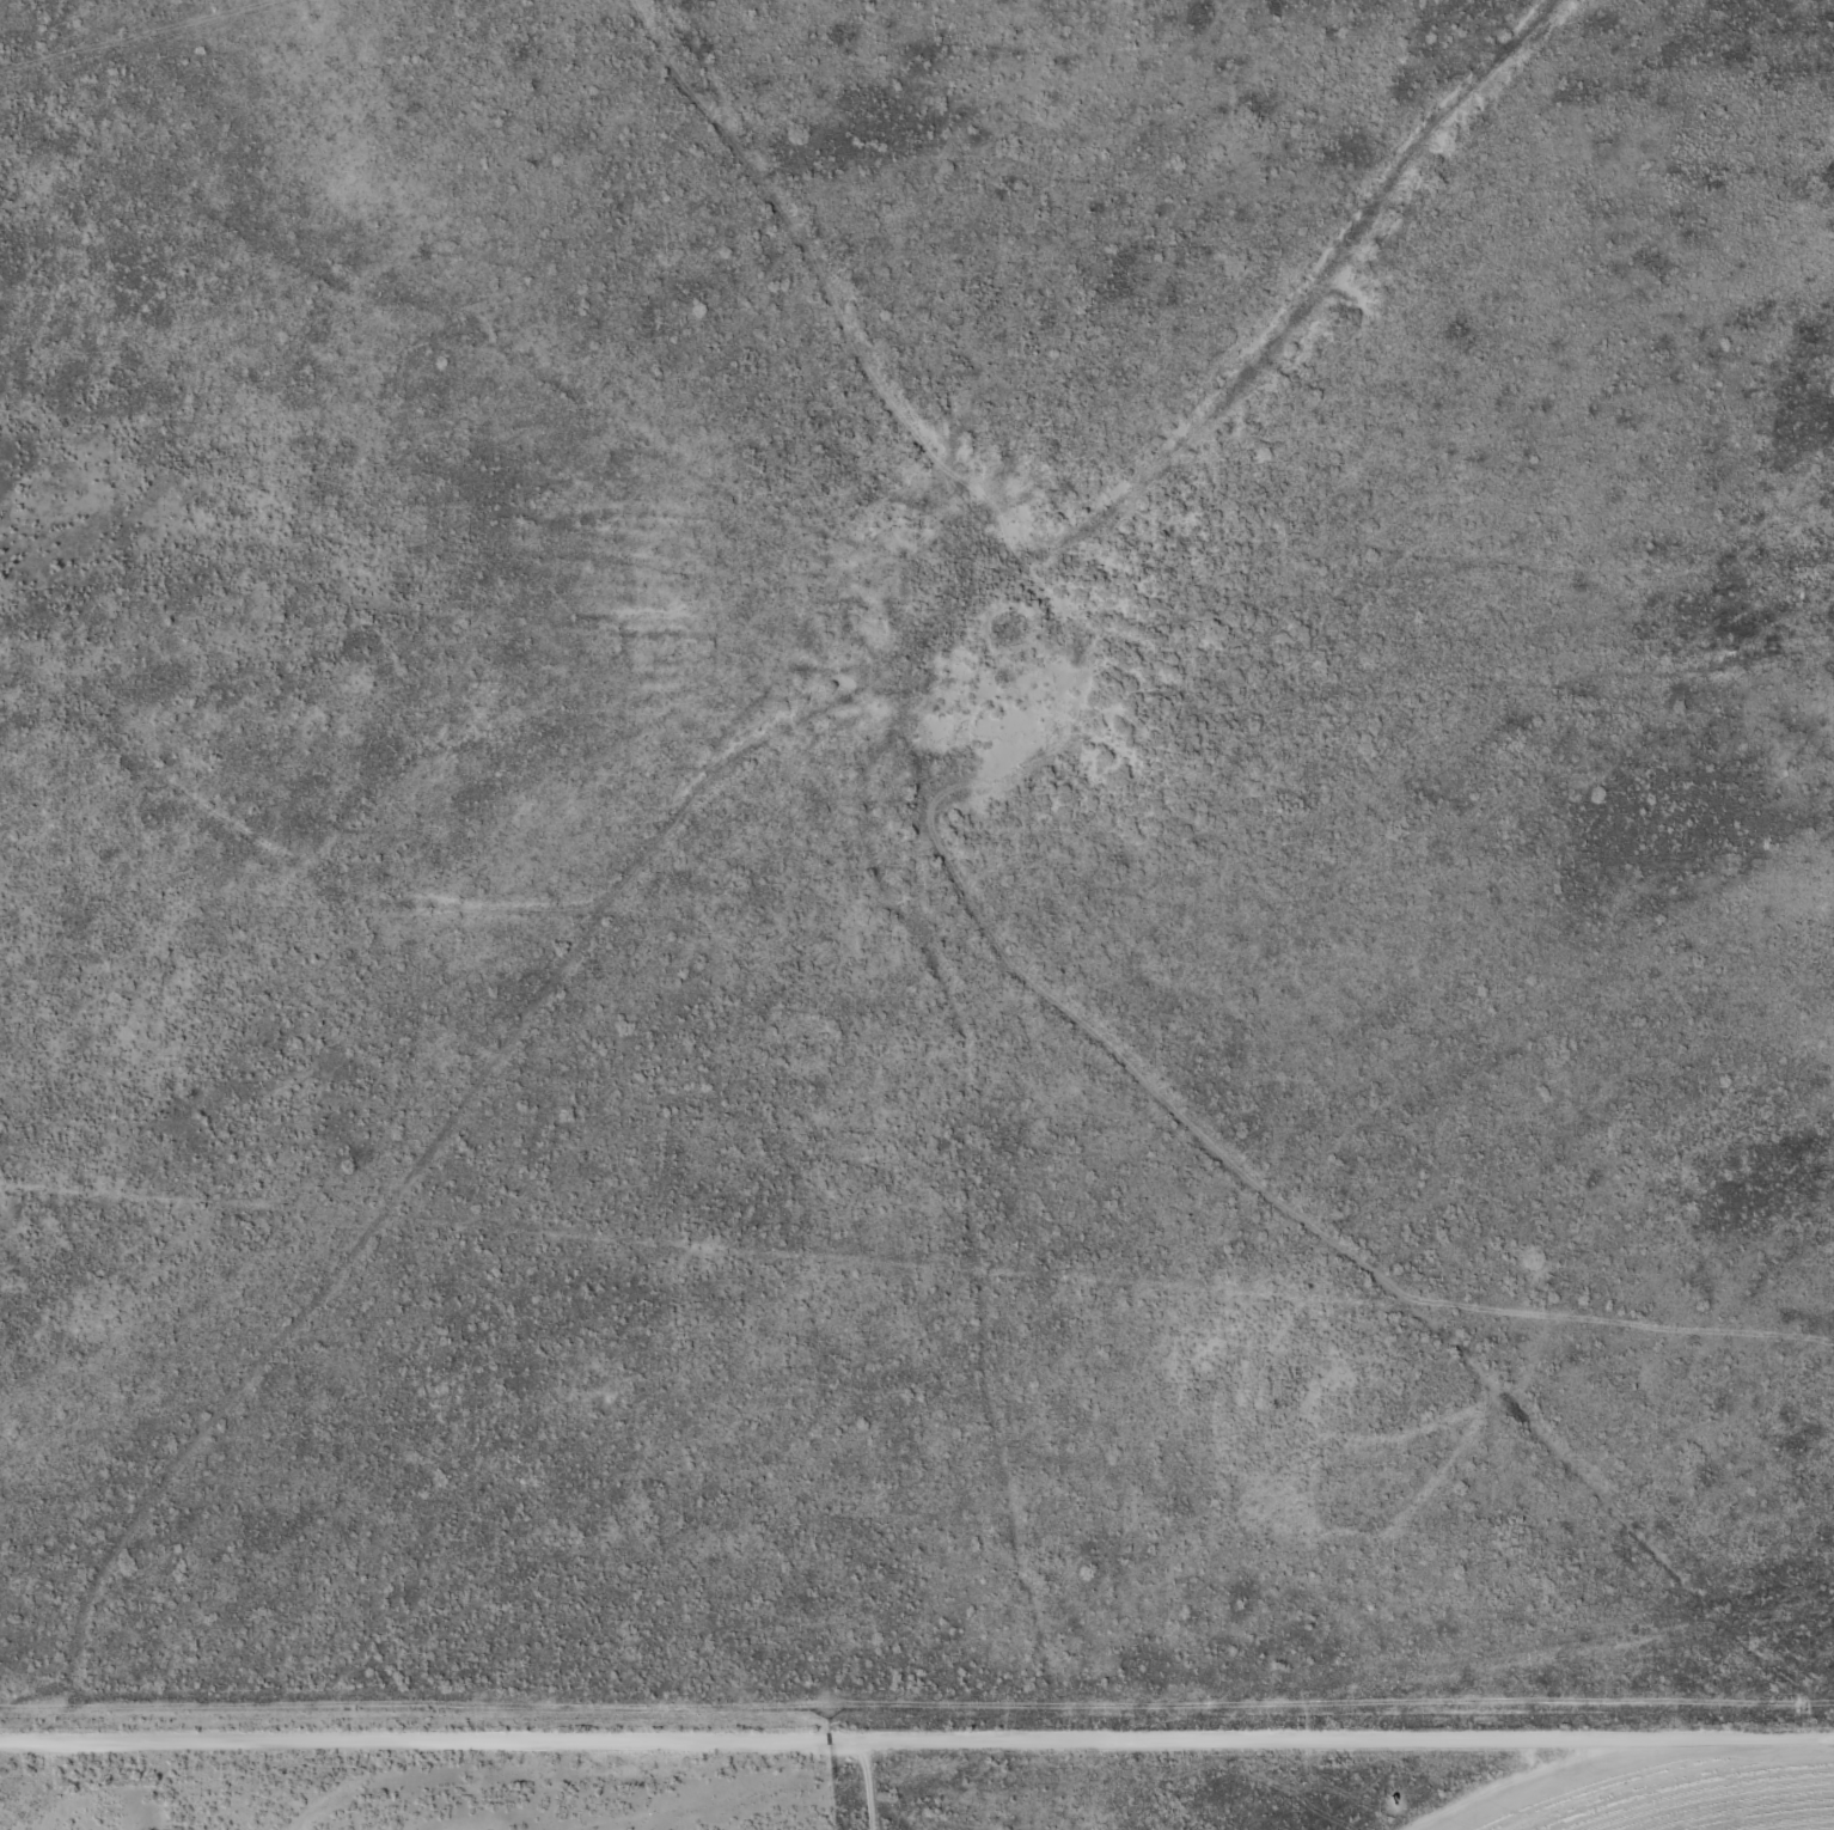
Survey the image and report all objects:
road: (916, 1737)

